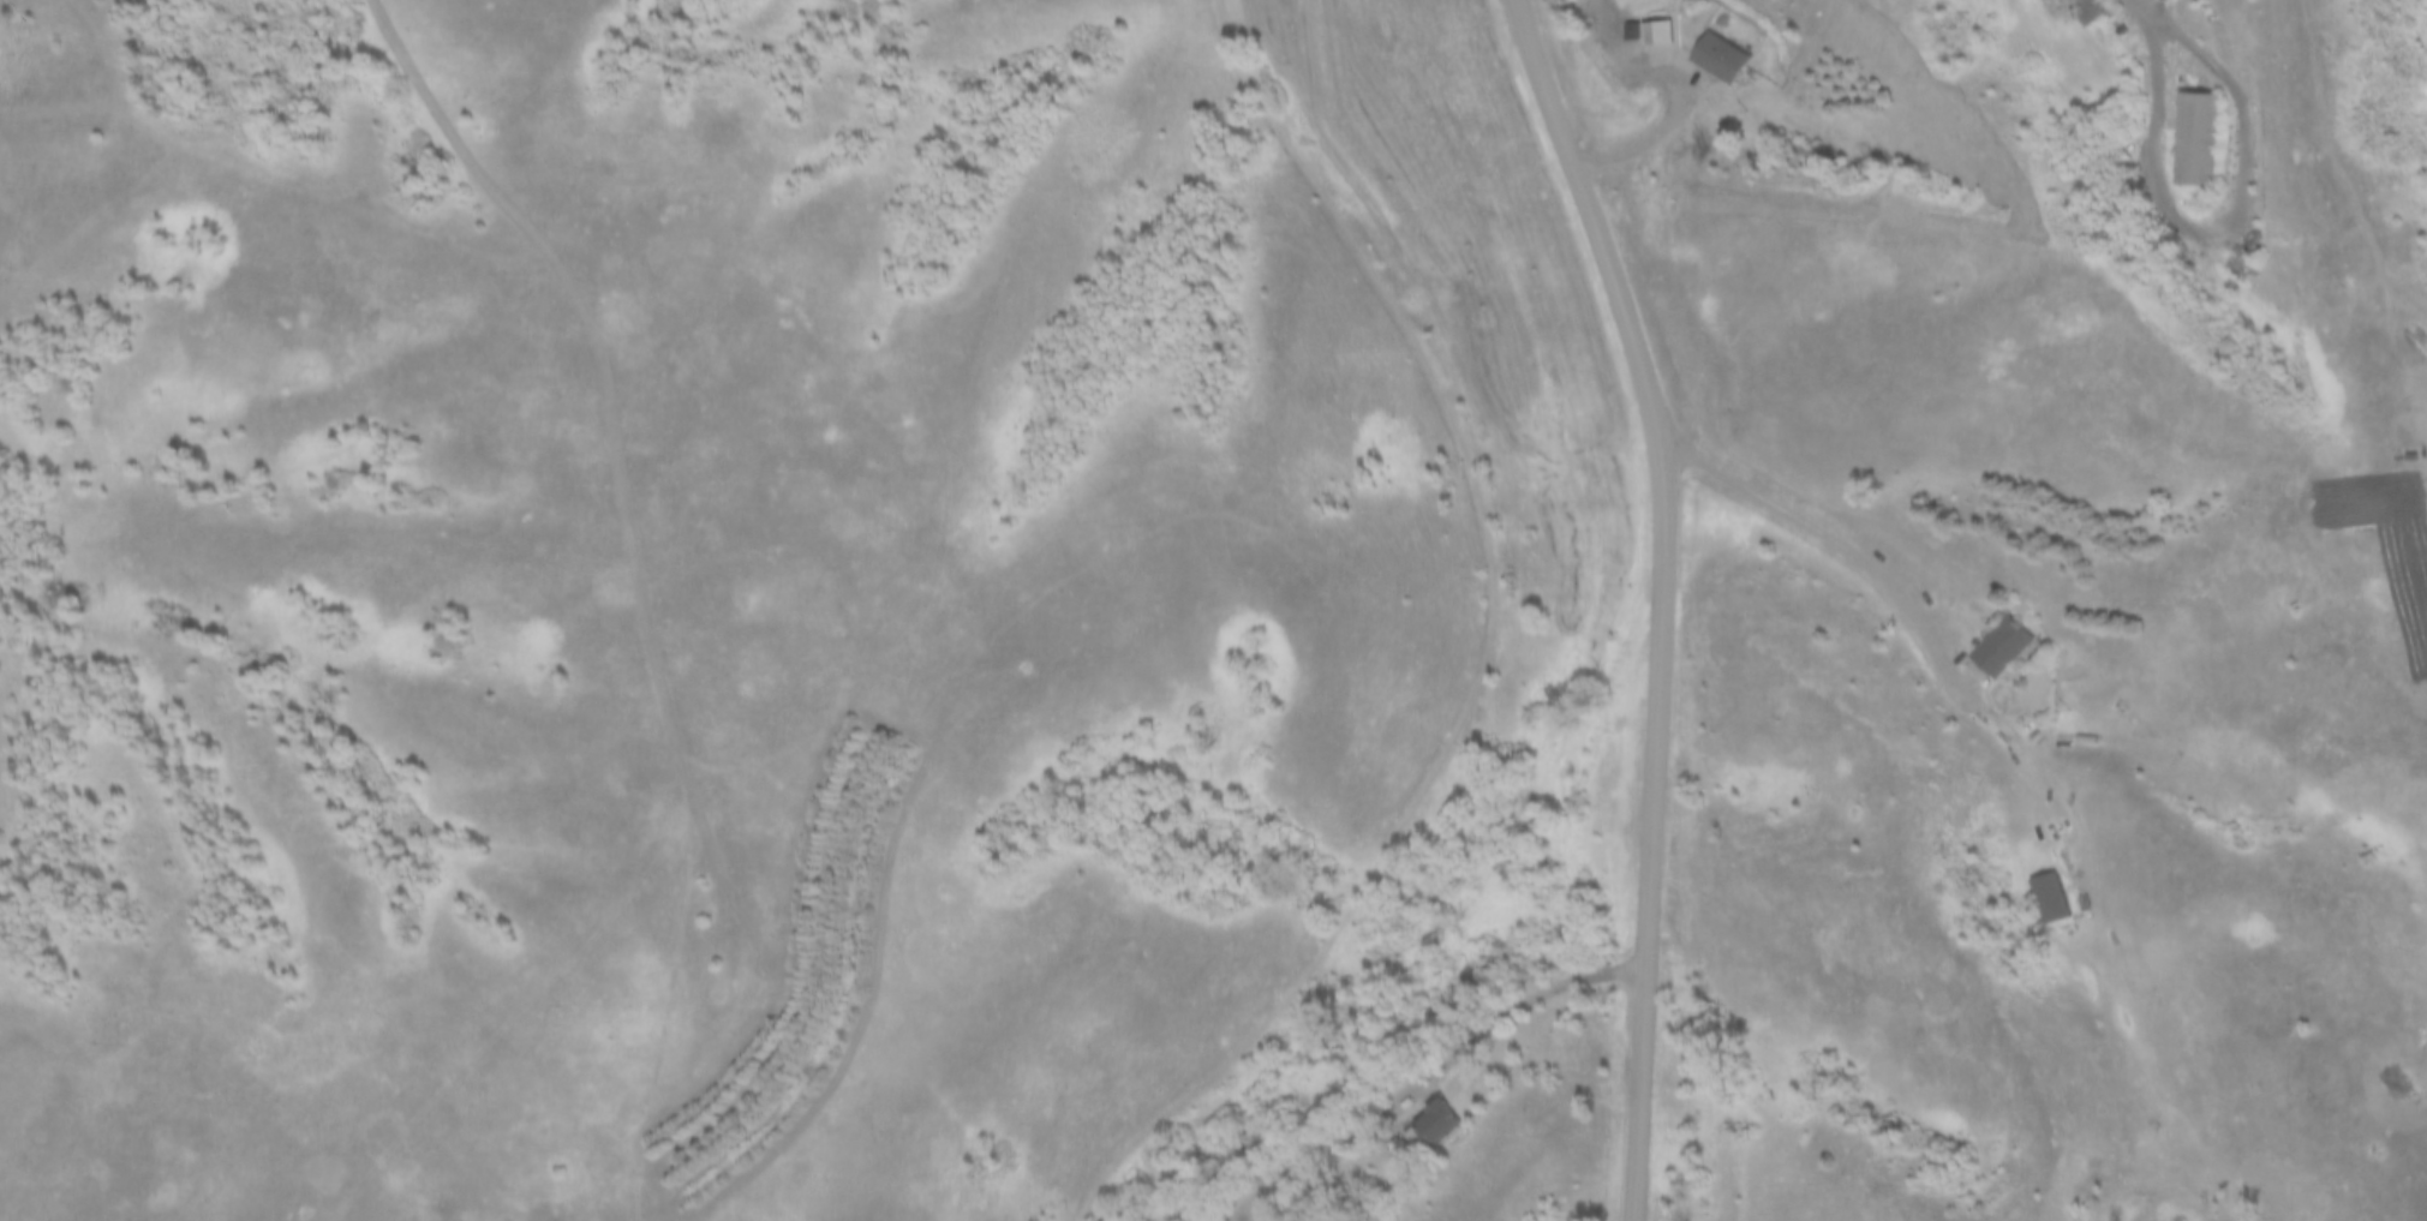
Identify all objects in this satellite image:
road: (2152, 7)
building: (2100, 11)
building: (1664, 28)
building: (1733, 56)
road: (1657, 113)
building: (2201, 138)
road: (2237, 138)
road: (1666, 598)
road: (1920, 609)
building: (2014, 648)
building: (2058, 897)
road: (1437, 1061)
building: (1434, 1125)

